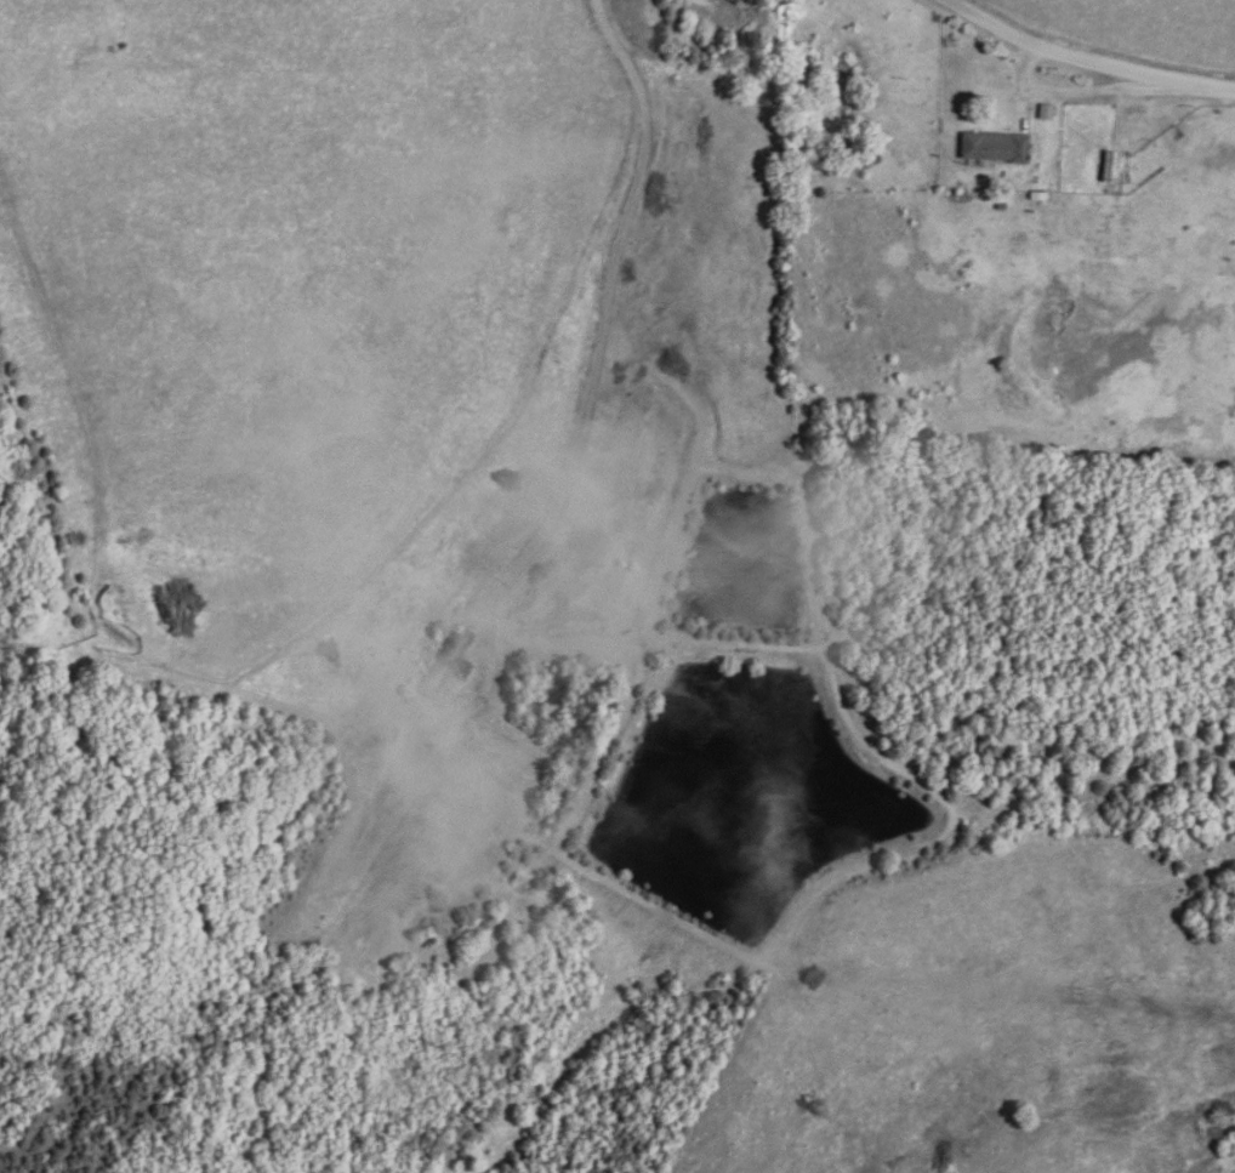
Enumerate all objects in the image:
road: (1089, 62)
road: (1108, 92)
building: (995, 148)
building: (446, 666)

